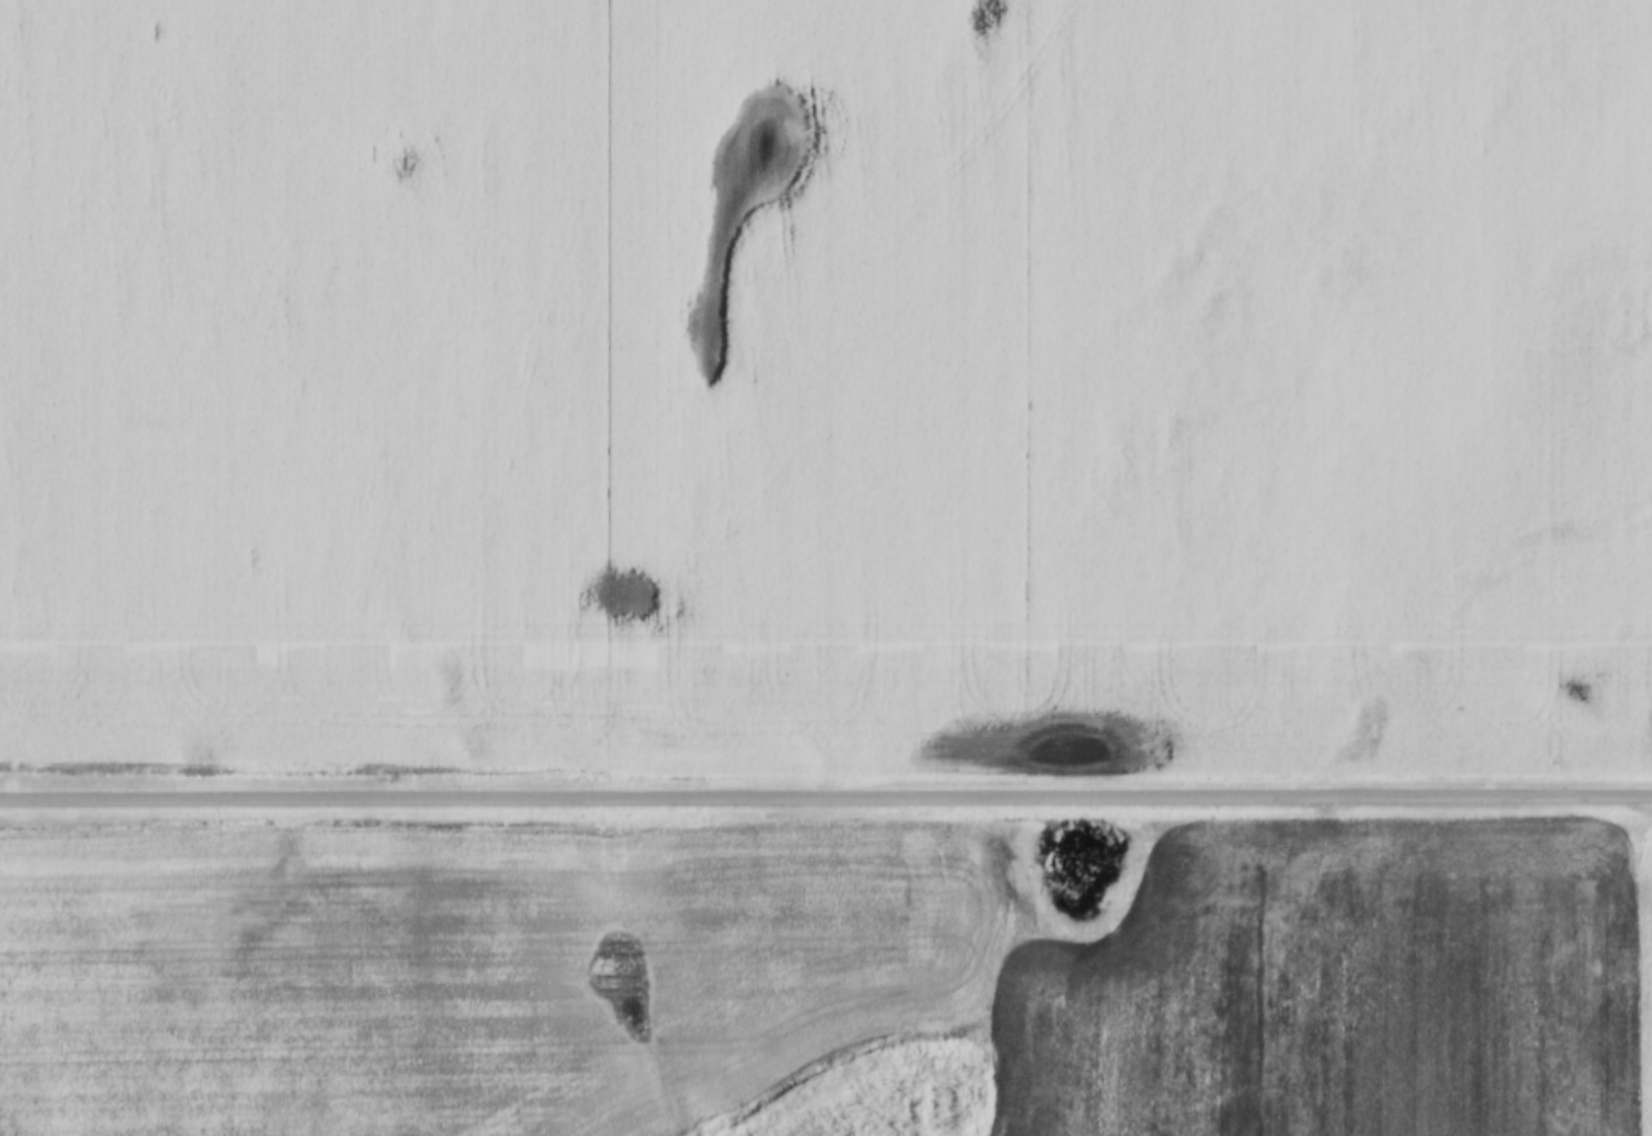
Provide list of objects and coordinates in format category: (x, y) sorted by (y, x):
road: (826, 797)

